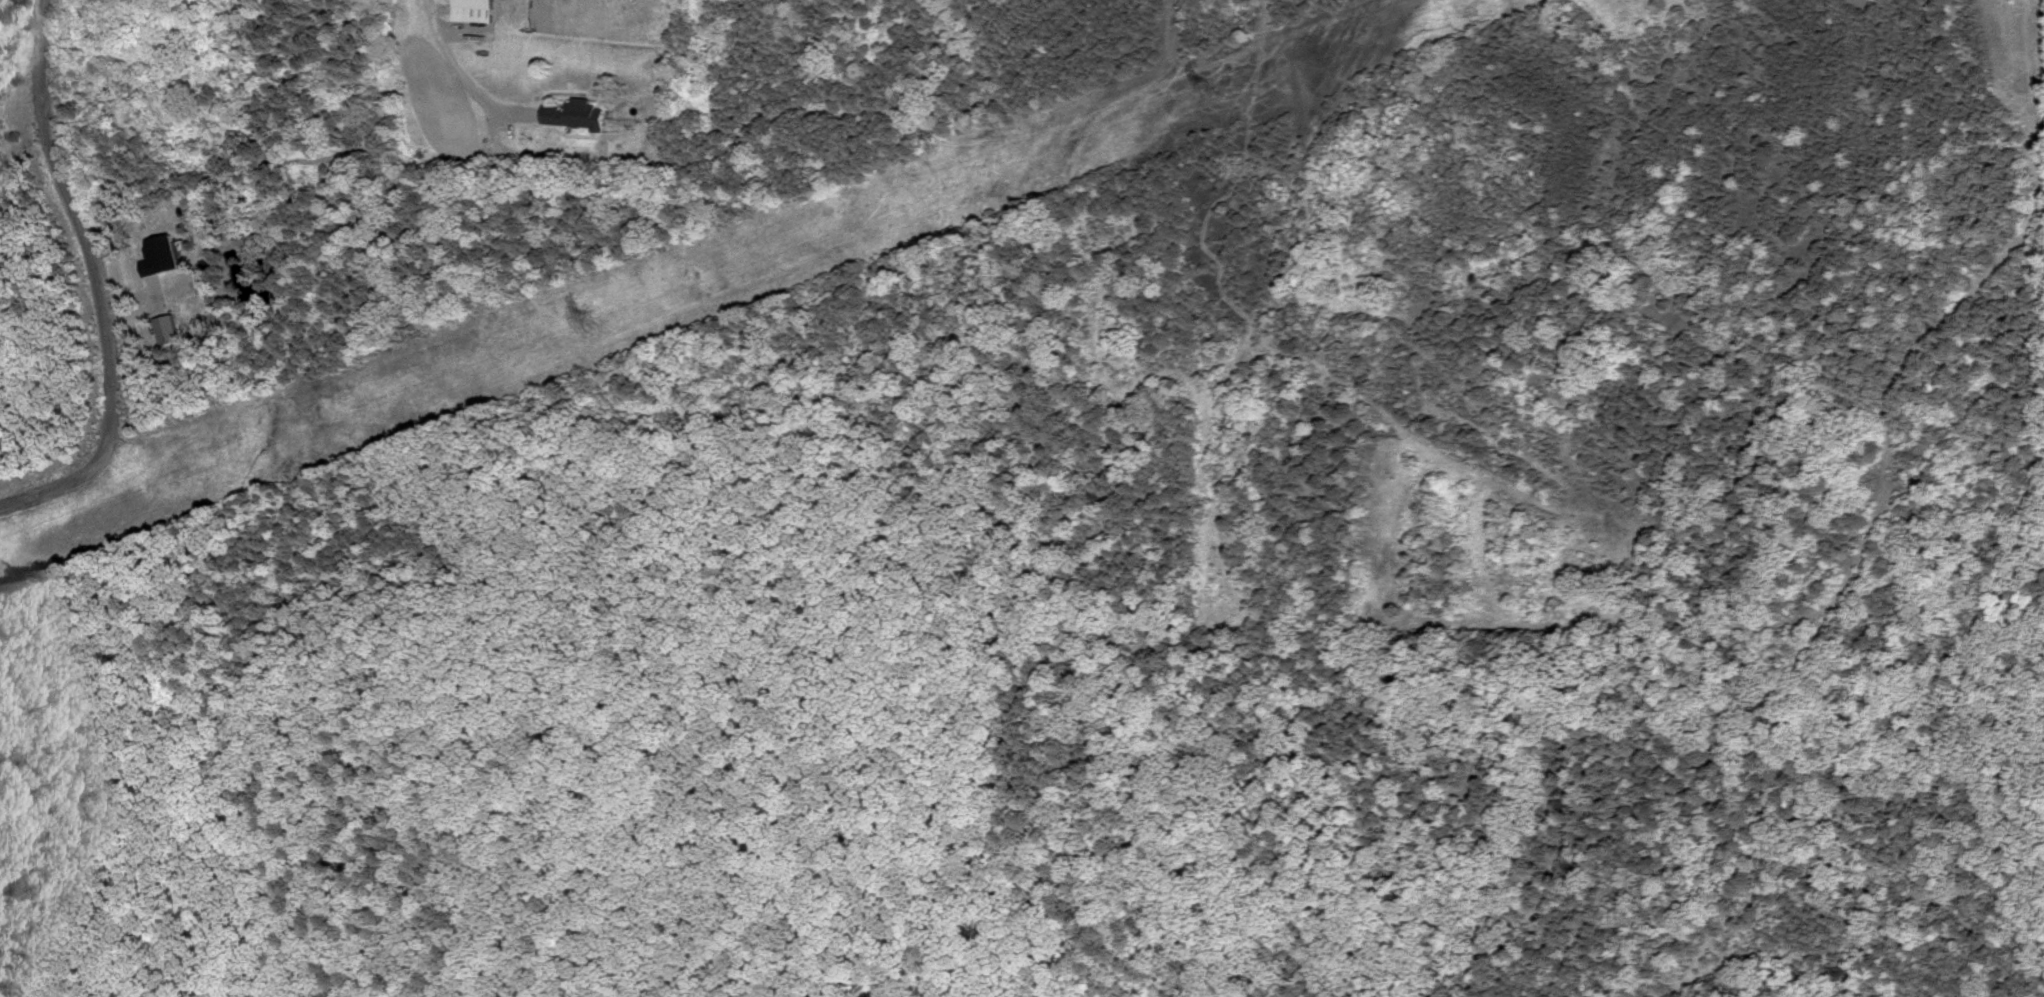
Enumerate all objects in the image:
building: (471, 11)
power tower: (1213, 87)
building: (573, 115)
road: (92, 285)
power tower: (590, 316)

